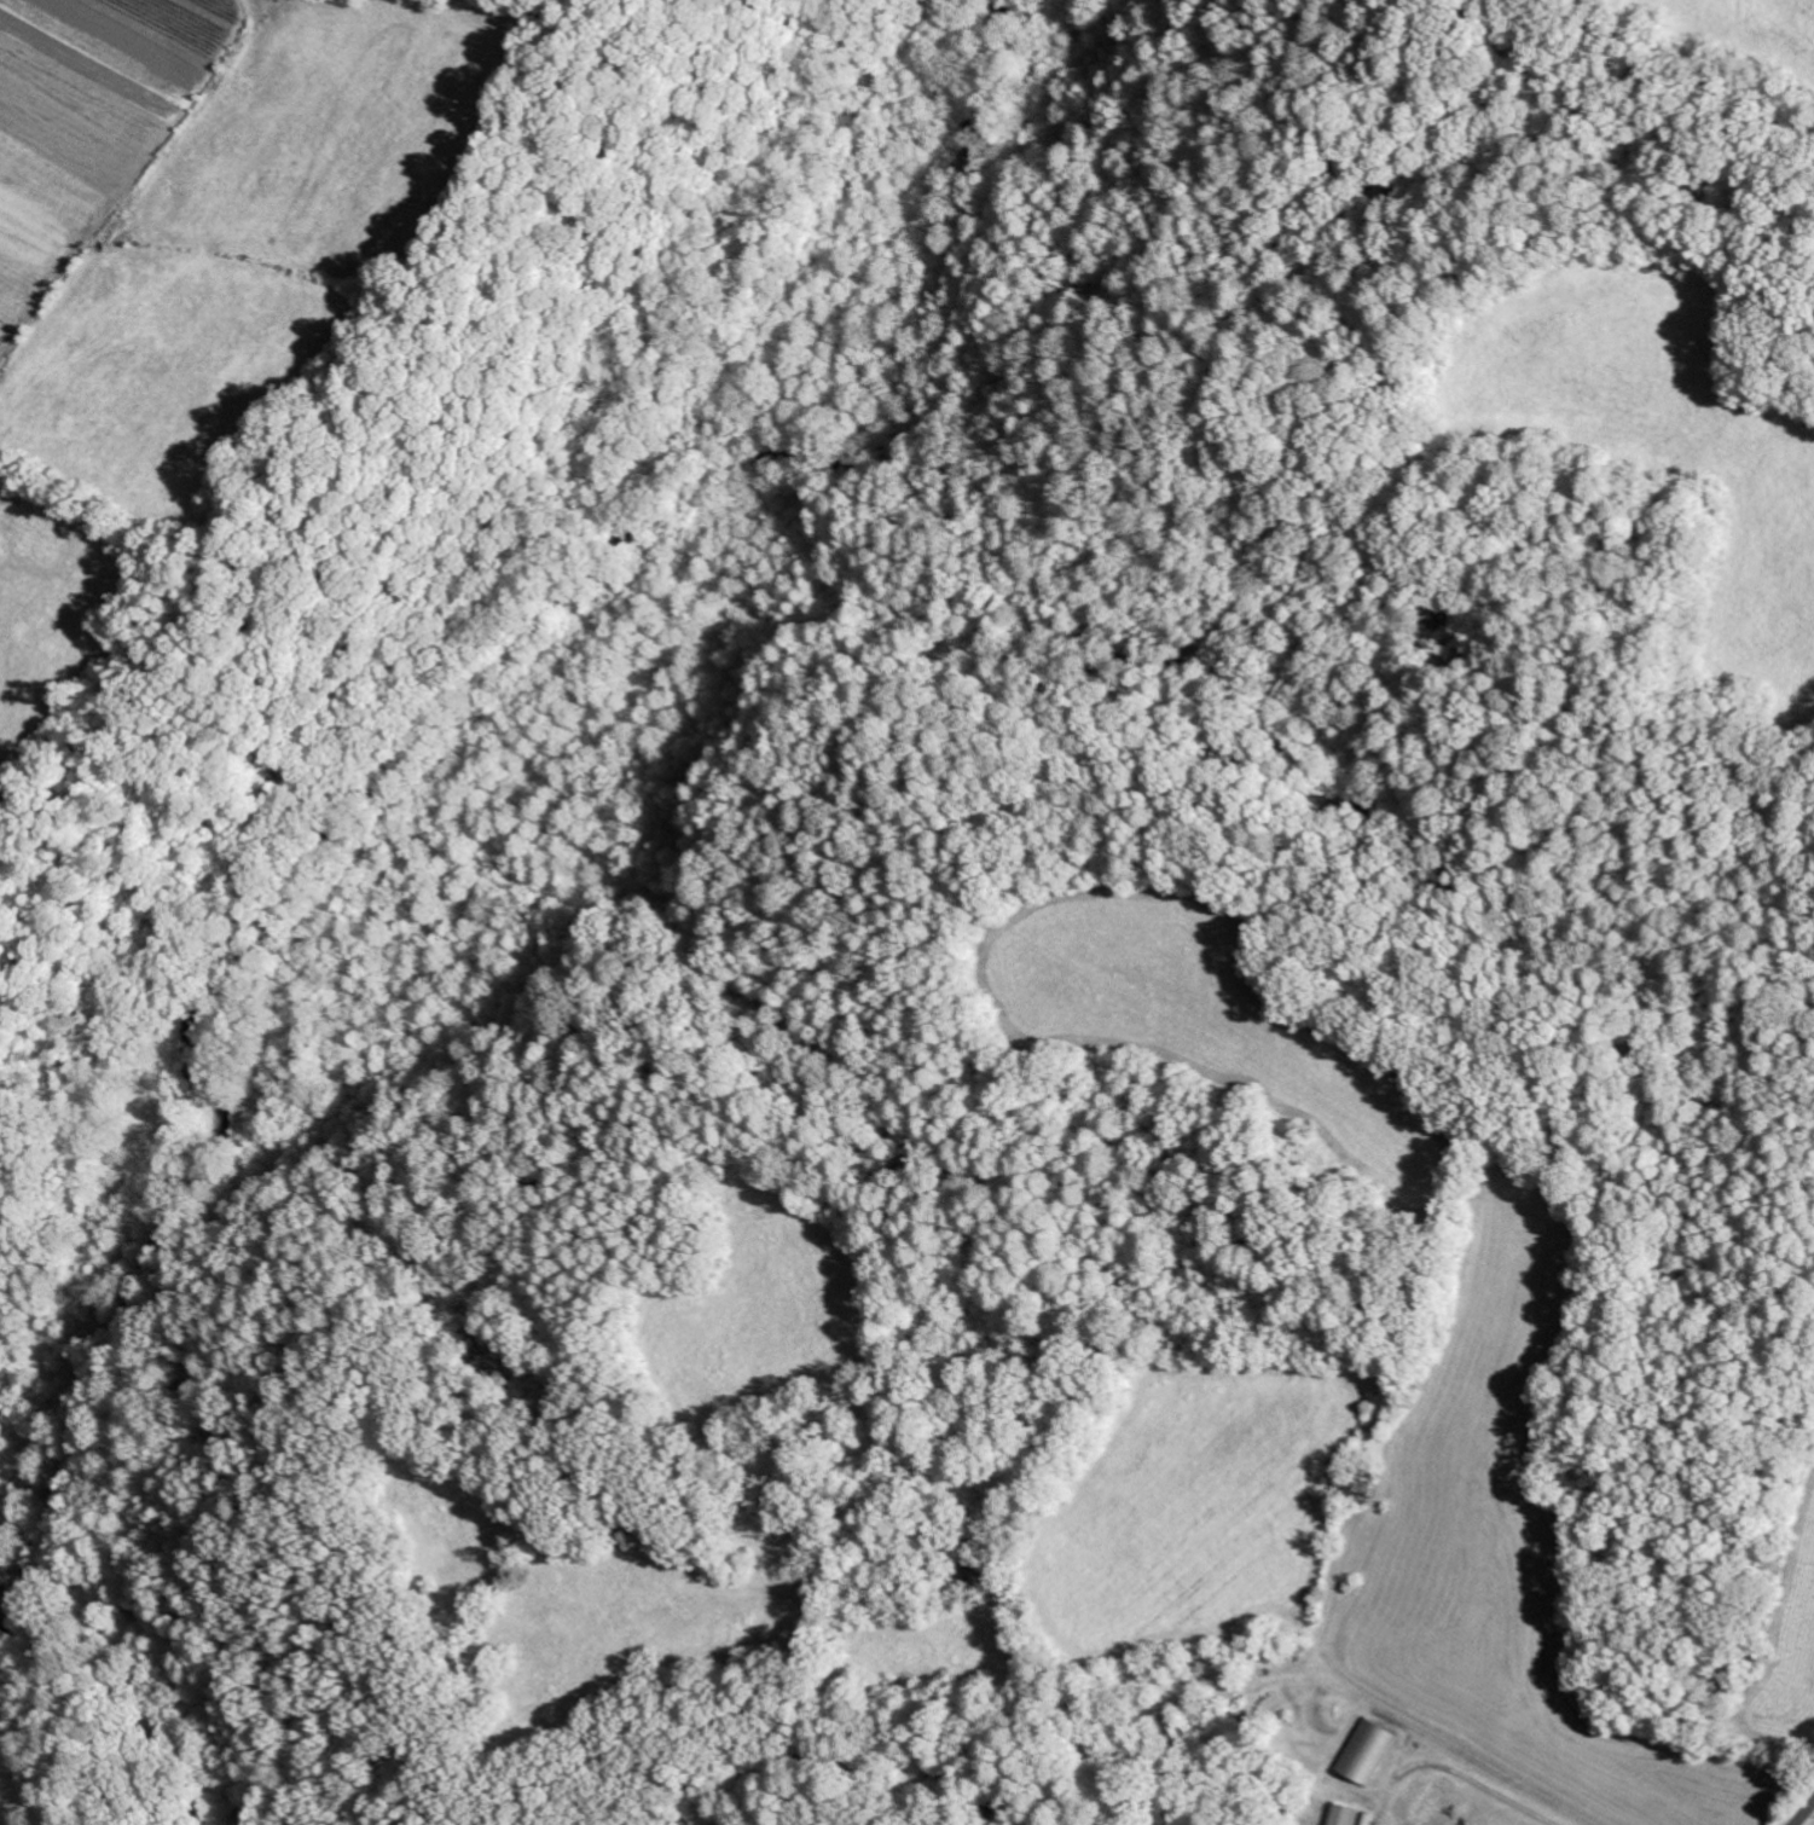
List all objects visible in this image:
road: (1357, 1719)
road: (1804, 1813)
building: (1346, 1815)

